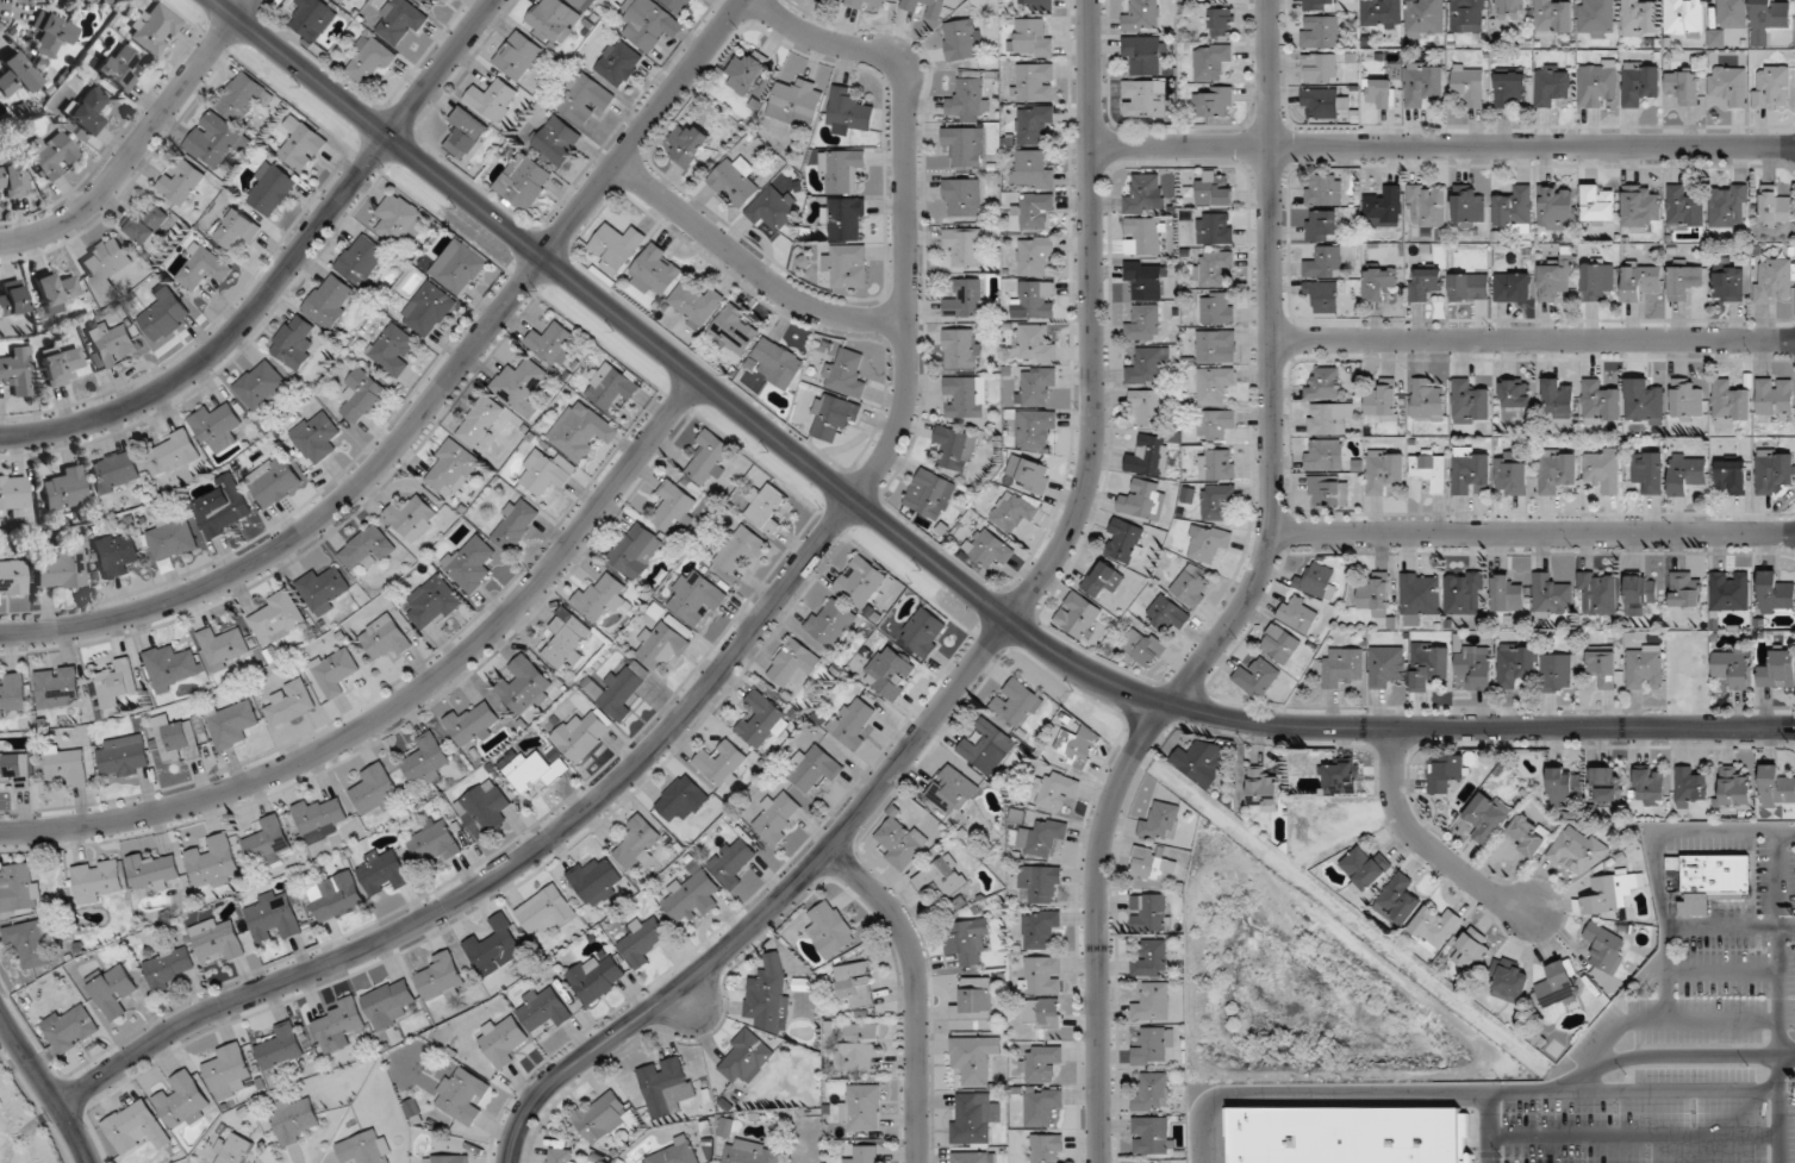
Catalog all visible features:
building: (40, 0)
building: (342, 0)
building: (831, 0)
building: (424, 2)
building: (582, 4)
building: (1036, 4)
building: (678, 5)
building: (867, 5)
building: (1320, 5)
building: (929, 7)
building: (1384, 13)
building: (1512, 14)
building: (1733, 14)
building: (1467, 15)
building: (1141, 17)
building: (1597, 17)
building: (312, 18)
building: (1553, 18)
building: (1640, 18)
building: (1426, 19)
building: (1684, 19)
building: (1768, 19)
building: (553, 21)
building: (1221, 21)
building: (399, 23)
building: (652, 24)
building: (152, 30)
building: (1320, 32)
building: (50, 35)
building: (1033, 38)
building: (962, 39)
building: (1145, 55)
building: (518, 56)
building: (370, 58)
building: (1211, 61)
building: (619, 63)
building: (1321, 68)
building: (117, 69)
building: (747, 73)
building: (15, 76)
building: (1035, 82)
building: (1597, 82)
building: (1425, 83)
building: (1639, 83)
building: (1469, 85)
building: (1552, 86)
building: (1683, 86)
building: (1728, 86)
building: (1771, 88)
building: (1509, 89)
building: (1380, 93)
building: (492, 99)
building: (585, 99)
building: (1143, 99)
building: (968, 100)
building: (797, 102)
building: (1215, 102)
building: (1323, 104)
building: (87, 111)
building: (848, 112)
building: (226, 123)
building: (1034, 124)
building: (466, 133)
building: (559, 140)
road: (138, 142)
building: (690, 144)
building: (964, 145)
road: (1442, 145)
building: (303, 148)
building: (49, 157)
building: (842, 169)
building: (1033, 170)
building: (181, 181)
building: (11, 182)
building: (524, 182)
building: (735, 182)
building: (1215, 188)
building: (269, 189)
building: (1325, 189)
building: (1145, 194)
building: (962, 198)
building: (1427, 205)
building: (1467, 205)
building: (1600, 205)
building: (1729, 205)
building: (773, 207)
building: (1557, 207)
building: (1384, 208)
building: (1640, 208)
building: (1685, 208)
building: (1776, 208)
building: (1035, 210)
building: (1516, 210)
building: (399, 219)
building: (846, 219)
building: (147, 224)
building: (1323, 225)
building: (1215, 229)
building: (237, 230)
building: (1143, 236)
building: (964, 246)
building: (615, 248)
building: (1036, 256)
building: (361, 261)
building: (1325, 262)
building: (105, 263)
building: (847, 265)
building: (459, 267)
road: (749, 267)
building: (201, 269)
road: (282, 269)
building: (1214, 269)
building: (656, 270)
building: (1147, 279)
building: (1556, 279)
building: (1596, 280)
building: (1640, 280)
building: (1774, 280)
building: (1727, 281)
building: (1684, 282)
building: (1379, 283)
building: (1426, 285)
building: (1470, 287)
building: (1513, 288)
building: (55, 293)
building: (1323, 295)
building: (967, 299)
building: (11, 300)
building: (1036, 300)
building: (330, 302)
building: (694, 305)
building: (1217, 308)
building: (429, 309)
building: (163, 317)
building: (1143, 324)
building: (735, 330)
road: (1533, 340)
building: (293, 343)
building: (554, 344)
building: (113, 345)
building: (1034, 345)
building: (1216, 346)
building: (962, 349)
building: (394, 350)
building: (777, 363)
building: (61, 365)
building: (1148, 365)
building: (17, 371)
building: (846, 374)
building: (1215, 384)
building: (1323, 384)
building: (260, 386)
building: (1035, 386)
building: (521, 387)
building: (612, 388)
building: (1516, 393)
building: (362, 395)
building: (1559, 399)
building: (1775, 399)
building: (966, 400)
building: (1383, 400)
road: (431, 401)
building: (1428, 401)
building: (1687, 401)
building: (1644, 402)
building: (1470, 404)
building: (1601, 404)
building: (1731, 404)
building: (1149, 407)
building: (833, 417)
building: (1328, 418)
building: (481, 423)
building: (1215, 424)
building: (216, 429)
building: (1035, 429)
building: (581, 431)
building: (316, 437)
building: (954, 448)
building: (173, 454)
building: (1325, 454)
building: (1148, 456)
building: (711, 458)
building: (1217, 464)
building: (451, 469)
building: (1429, 469)
building: (1470, 470)
building: (1602, 470)
building: (1384, 471)
building: (1557, 471)
building: (1648, 471)
building: (1774, 471)
building: (116, 473)
building: (546, 474)
building: (1512, 474)
building: (1687, 474)
building: (1034, 476)
building: (1732, 479)
building: (273, 481)
building: (66, 489)
building: (1328, 490)
building: (930, 494)
building: (14, 495)
building: (1143, 500)
building: (1219, 502)
building: (223, 507)
building: (673, 507)
building: (766, 509)
building: (1014, 514)
building: (411, 518)
building: (515, 525)
road: (1532, 532)
building: (172, 539)
building: (1124, 542)
building: (1208, 543)
building: (367, 549)
building: (740, 549)
building: (989, 550)
building: (636, 551)
building: (116, 555)
road: (931, 557)
building: (470, 563)
building: (61, 570)
building: (13, 579)
building: (1104, 580)
building: (861, 582)
building: (1319, 583)
building: (1191, 586)
building: (323, 589)
building: (1685, 589)
building: (1729, 590)
building: (1465, 593)
building: (1598, 593)
building: (1375, 594)
building: (1507, 594)
building: (1639, 594)
building: (1776, 594)
building: (1419, 596)
building: (1551, 598)
building: (600, 599)
building: (694, 599)
road: (1244, 601)
building: (434, 602)
building: (1298, 613)
building: (1167, 614)
building: (1079, 615)
building: (275, 618)
building: (830, 623)
building: (924, 633)
building: (386, 638)
building: (567, 643)
building: (1280, 644)
building: (223, 646)
building: (662, 646)
building: (1143, 646)
road: (729, 658)
road: (974, 661)
building: (1429, 664)
building: (1515, 664)
building: (792, 667)
building: (1342, 667)
building: (1386, 667)
building: (1602, 667)
building: (1733, 667)
building: (173, 668)
building: (1475, 668)
building: (1645, 668)
building: (1777, 670)
building: (334, 671)
building: (890, 673)
building: (1557, 673)
building: (1257, 677)
building: (118, 684)
building: (524, 686)
building: (58, 687)
building: (619, 694)
building: (13, 695)
road: (407, 698)
building: (291, 704)
building: (1018, 704)
building: (761, 721)
building: (852, 723)
building: (232, 724)
building: (472, 725)
building: (581, 736)
building: (179, 740)
building: (983, 744)
building: (1078, 748)
building: (124, 756)
building: (426, 758)
building: (1199, 761)
building: (722, 764)
building: (67, 765)
building: (814, 769)
building: (18, 770)
building: (530, 771)
building: (1445, 773)
building: (1340, 779)
building: (1565, 786)
building: (1606, 786)
building: (1651, 787)
building: (1690, 787)
building: (1735, 787)
building: (1777, 787)
building: (375, 790)
building: (1057, 790)
building: (1263, 790)
building: (952, 792)
building: (681, 799)
building: (482, 809)
building: (777, 817)
building: (1487, 818)
building: (320, 819)
building: (1160, 823)
building: (1531, 831)
building: (1042, 838)
building: (269, 840)
building: (435, 840)
building: (902, 843)
road: (1423, 843)
building: (638, 844)
building: (1576, 852)
building: (214, 863)
building: (1152, 865)
building: (1365, 868)
building: (154, 873)
building: (384, 873)
building: (942, 876)
building: (709, 881)
building: (1712, 881)
building: (98, 882)
building: (594, 882)
building: (1041, 883)
building: (20, 888)
building: (1608, 895)
building: (337, 896)
building: (1398, 900)
building: (546, 912)
building: (1151, 913)
building: (274, 919)
building: (1435, 927)
building: (831, 930)
building: (1041, 930)
building: (220, 940)
building: (30, 943)
building: (641, 943)
building: (967, 944)
building: (496, 946)
building: (1604, 948)
building: (1472, 951)
building: (1151, 959)
building: (168, 967)
building: (441, 976)
building: (1042, 976)
building: (596, 980)
building: (1509, 981)
building: (855, 984)
building: (1559, 986)
building: (114, 990)
road: (916, 990)
building: (768, 996)
building: (389, 1003)
building: (1153, 1003)
building: (973, 1006)
building: (544, 1008)
building: (1043, 1014)
building: (339, 1024)
building: (71, 1028)
building: (504, 1040)
building: (1152, 1046)
building: (281, 1048)
building: (859, 1049)
building: (746, 1057)
building: (973, 1058)
building: (1042, 1064)
building: (229, 1069)
road: (48, 1087)
building: (666, 1087)
building: (1153, 1092)
building: (463, 1094)
building: (183, 1101)
building: (862, 1107)
building: (1042, 1107)
building: (600, 1118)
building: (973, 1119)
building: (295, 1120)
building: (136, 1128)
building: (1153, 1136)
building: (1348, 1136)
building: (233, 1149)
building: (366, 1149)
building: (1047, 1149)
building: (752, 1152)
building: (674, 1153)
building: (560, 1155)
building: (866, 1155)
building: (972, 1157)
building: (445, 1158)

